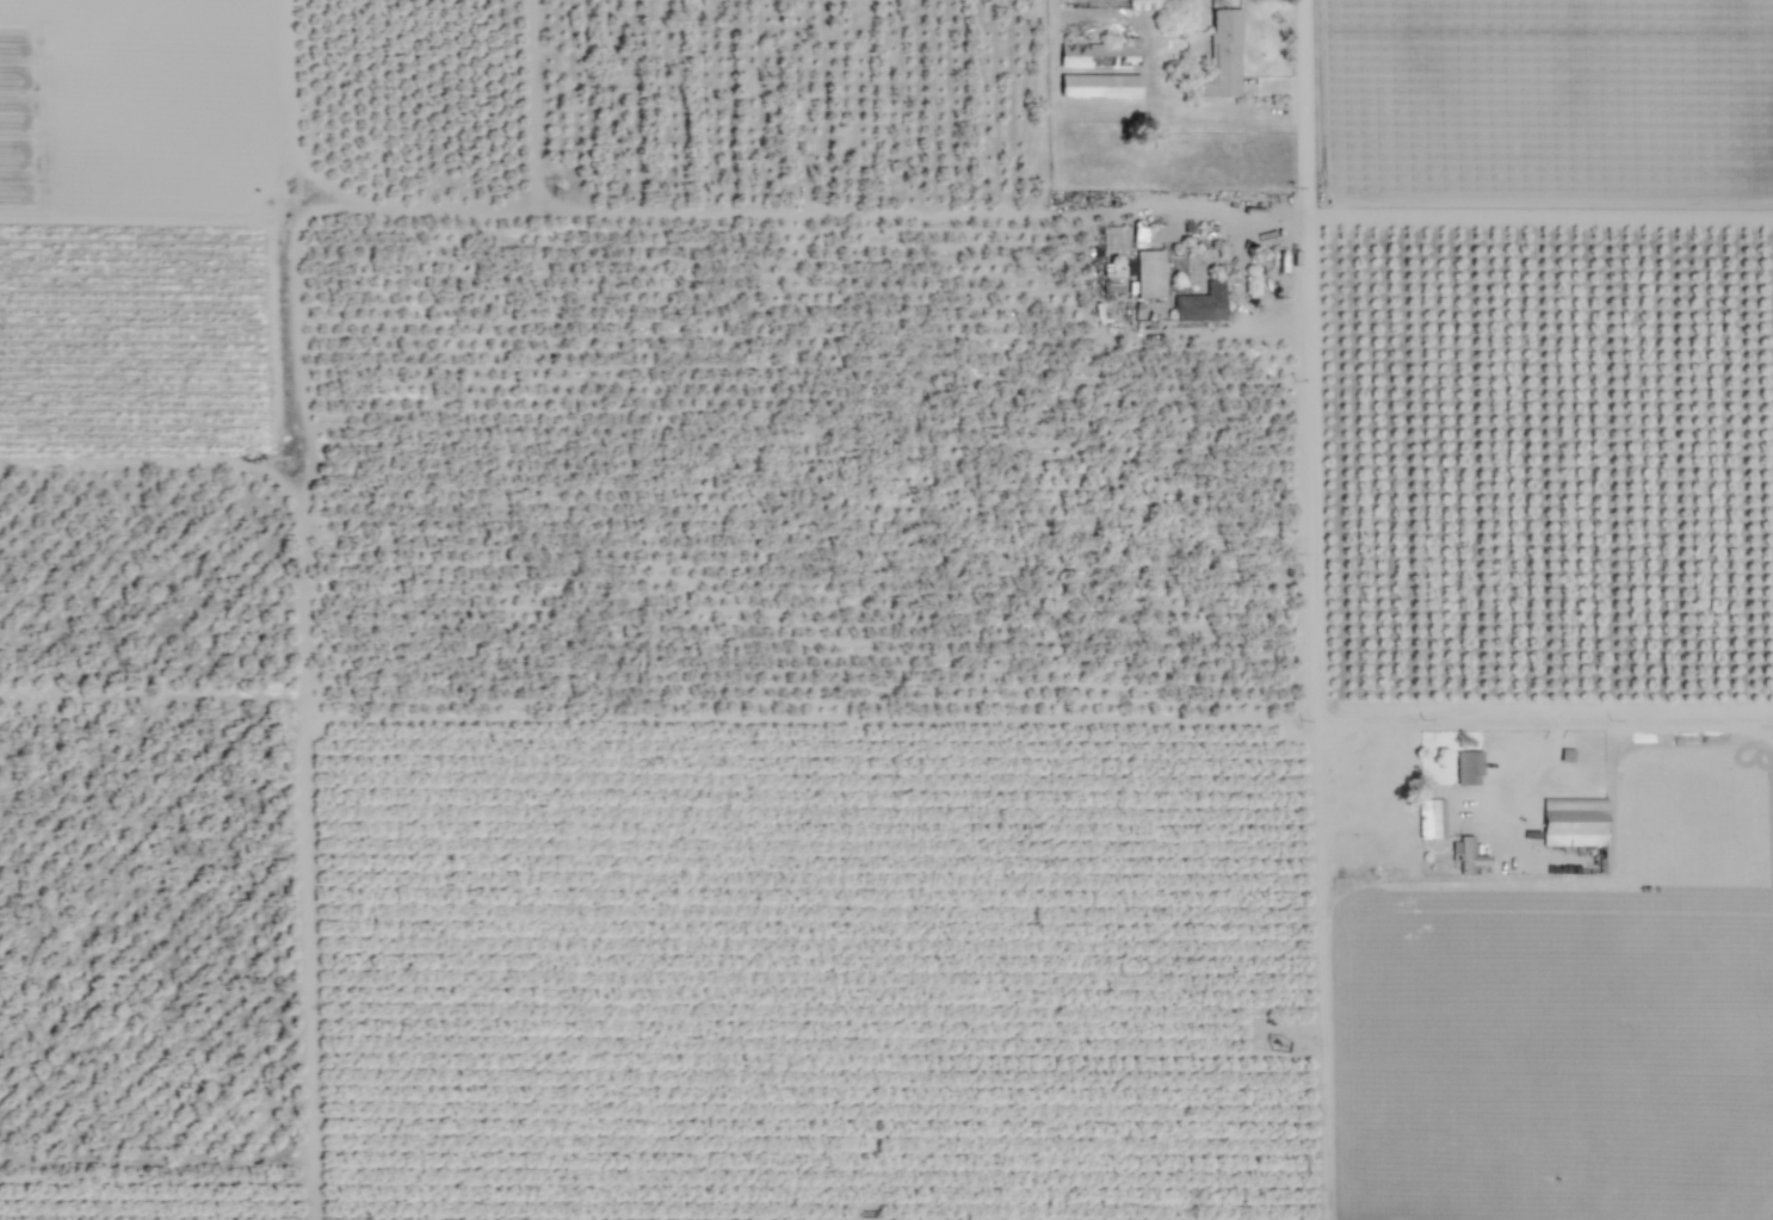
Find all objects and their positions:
building: (1123, 0)
building: (1153, 5)
building: (1098, 55)
building: (1223, 55)
building: (1099, 86)
building: (1149, 274)
building: (1113, 278)
building: (1201, 304)
road: (1315, 609)
road: (1545, 714)
road: (1533, 762)
building: (1468, 768)
building: (1431, 818)
building: (1574, 822)
building: (1469, 856)

